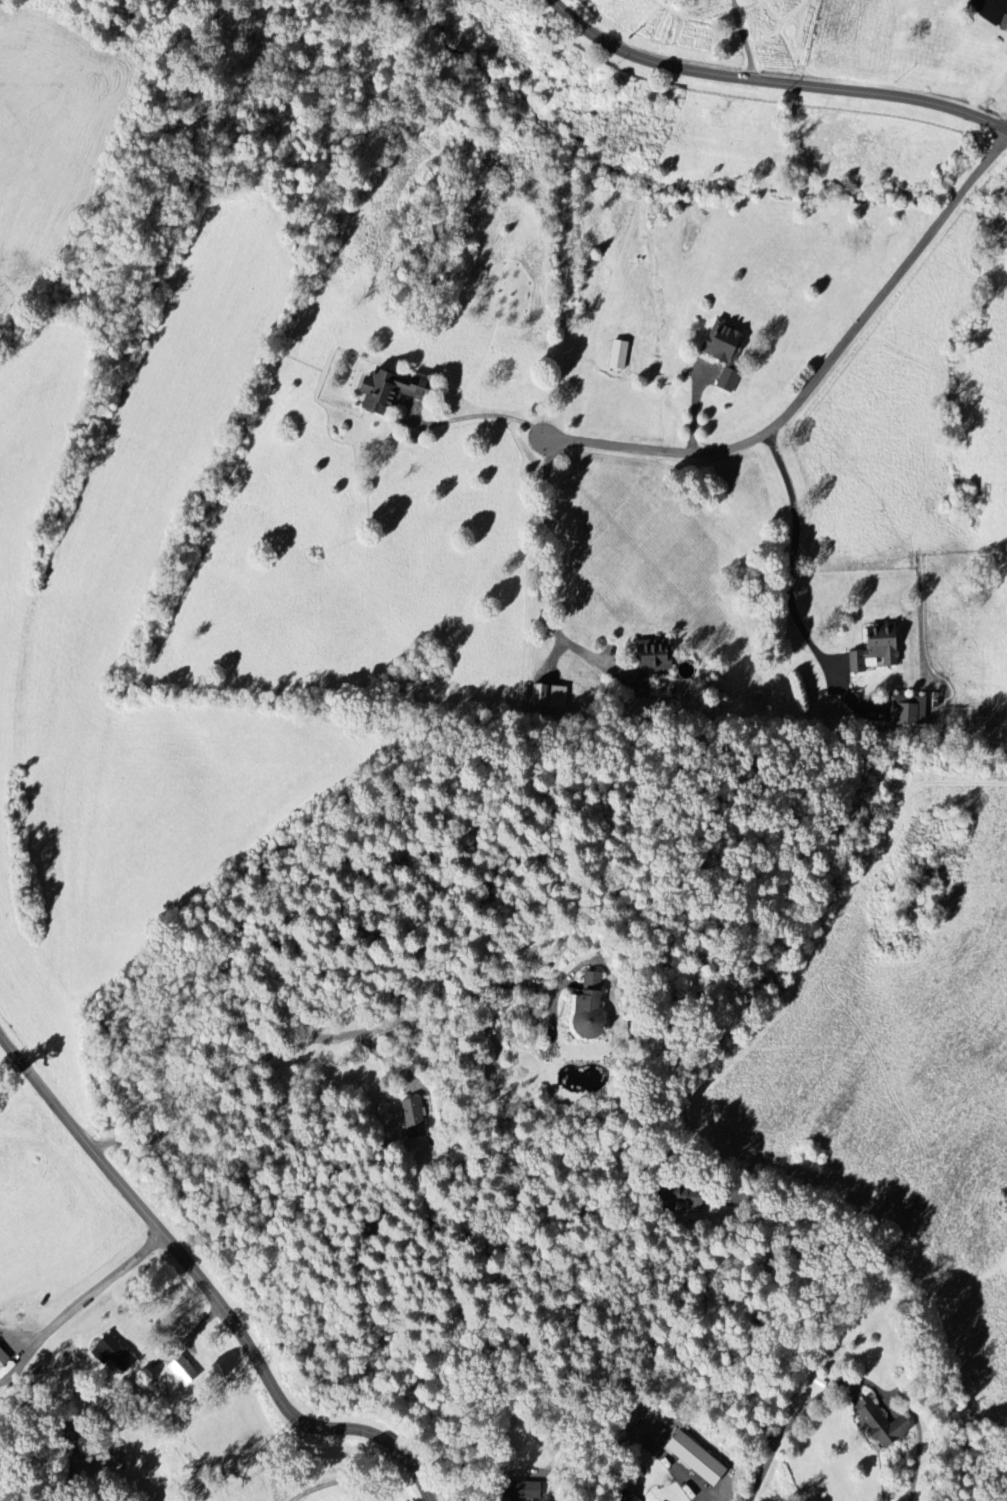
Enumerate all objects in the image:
road: (744, 37)
road: (775, 77)
building: (726, 352)
building: (620, 355)
road: (822, 376)
building: (393, 392)
road: (478, 413)
road: (795, 553)
road: (544, 564)
building: (879, 650)
building: (652, 663)
building: (550, 697)
building: (908, 712)
building: (591, 1008)
road: (323, 1036)
building: (414, 1119)
road: (211, 1281)
road: (94, 1293)
road: (764, 1302)
building: (116, 1354)
building: (4, 1358)
building: (184, 1372)
building: (885, 1425)
road: (788, 1428)
building: (699, 1459)
road: (322, 1470)
road: (550, 1479)
road: (447, 1485)
road: (794, 1500)

